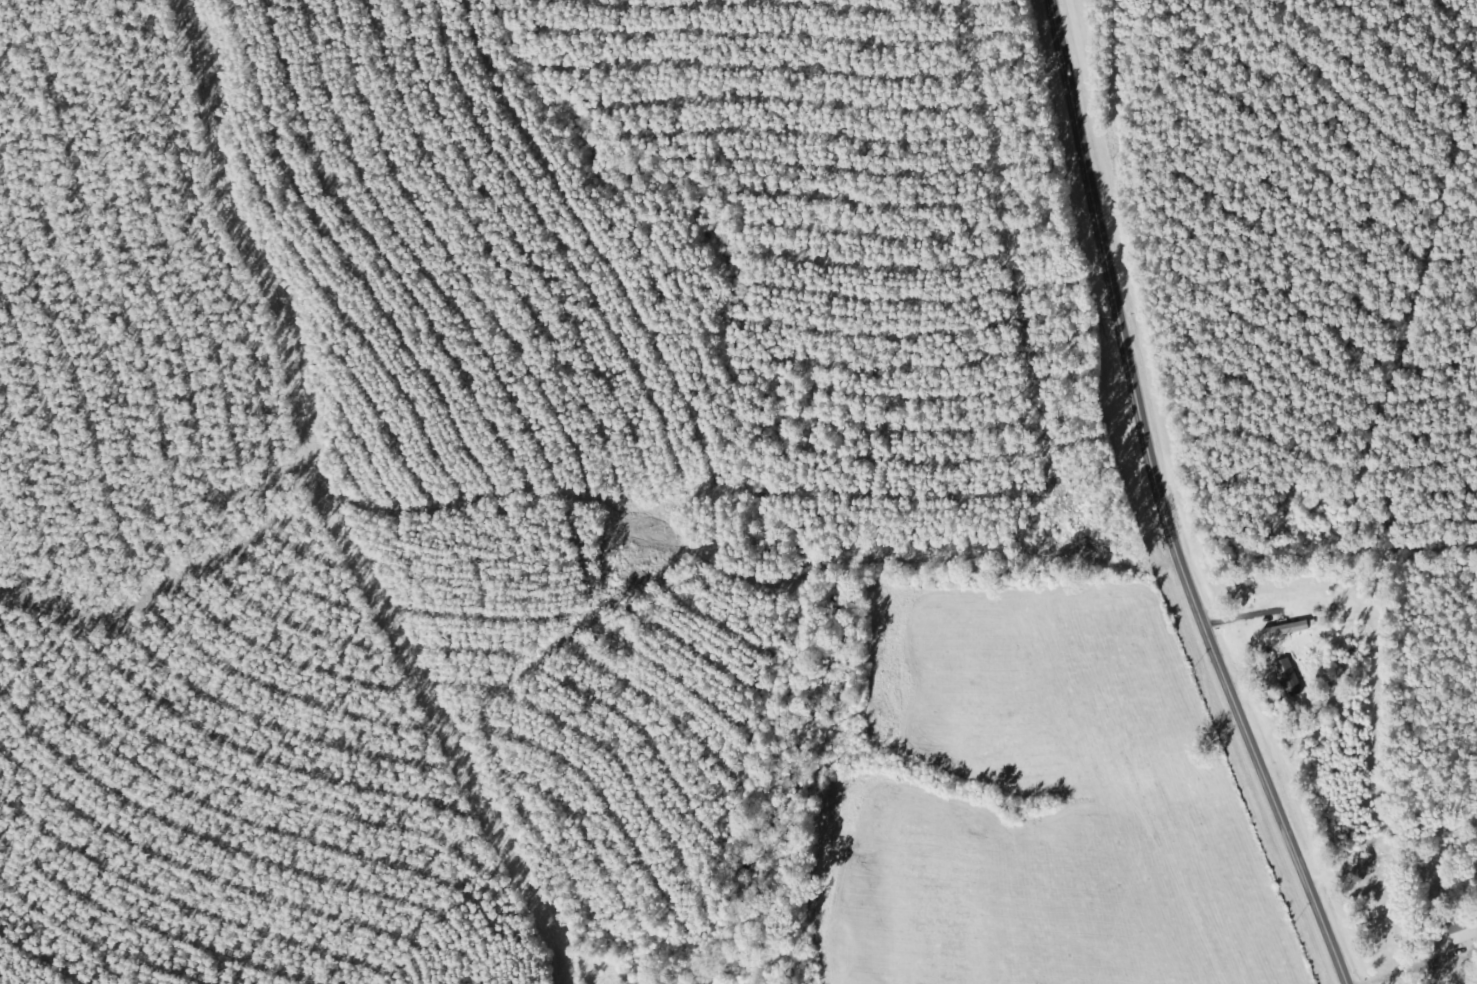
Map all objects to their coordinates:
road: (1159, 503)
building: (1283, 630)
building: (1286, 670)

